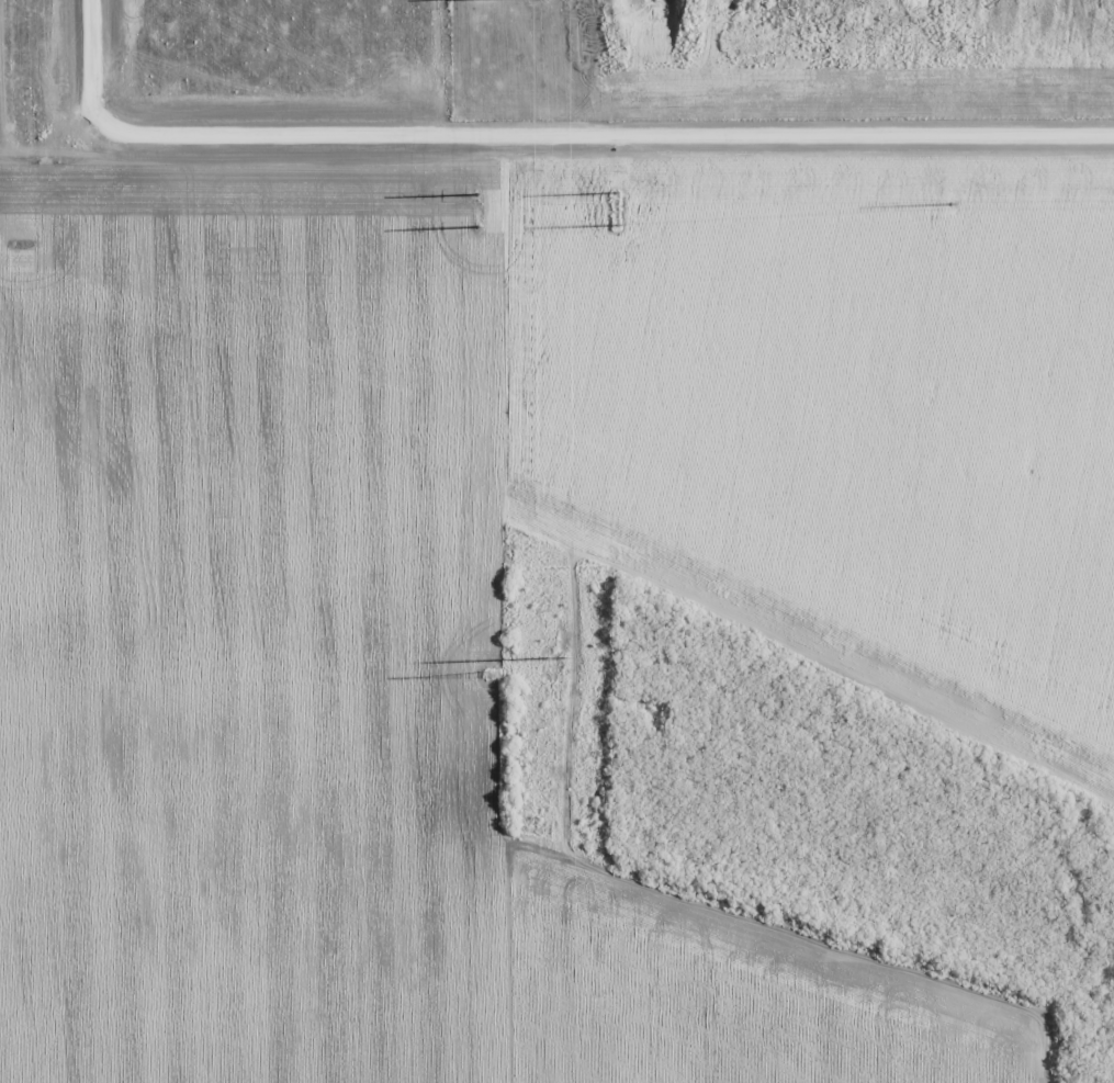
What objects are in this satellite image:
crop: (517, 499)
power tower: (552, 669)
power tower: (490, 674)

